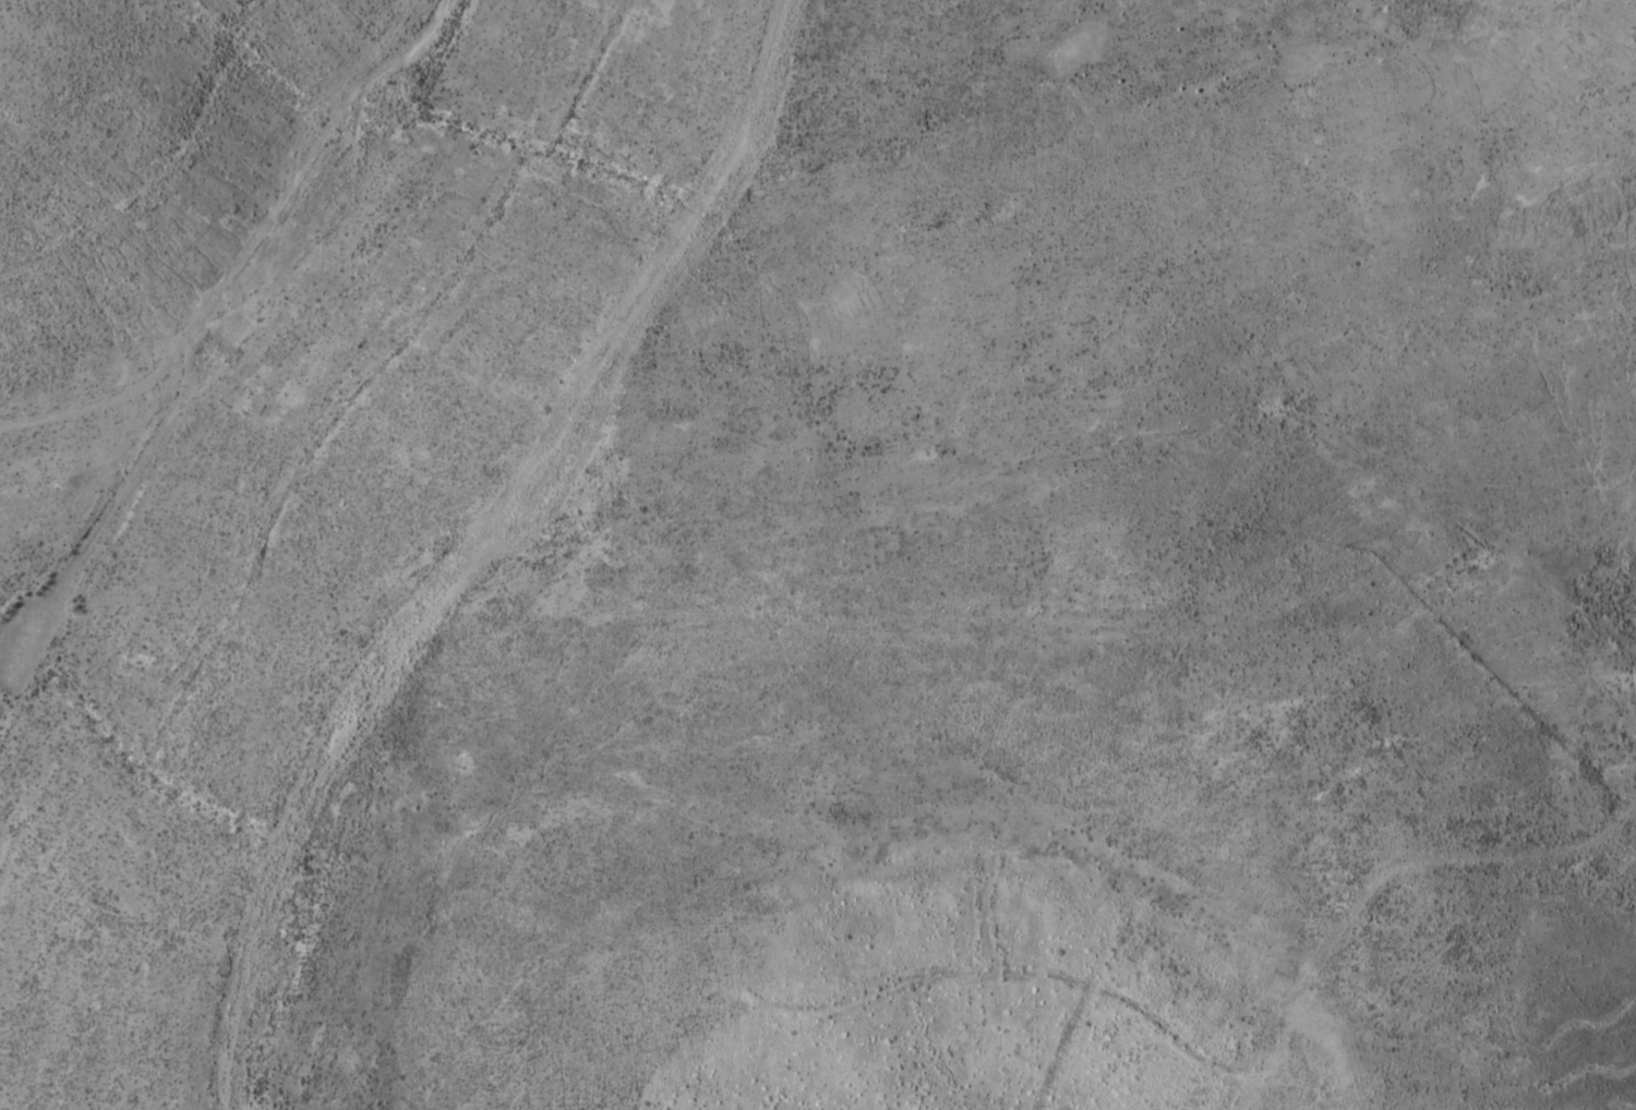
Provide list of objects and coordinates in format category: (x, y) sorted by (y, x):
road: (719, 197)
road: (351, 712)

